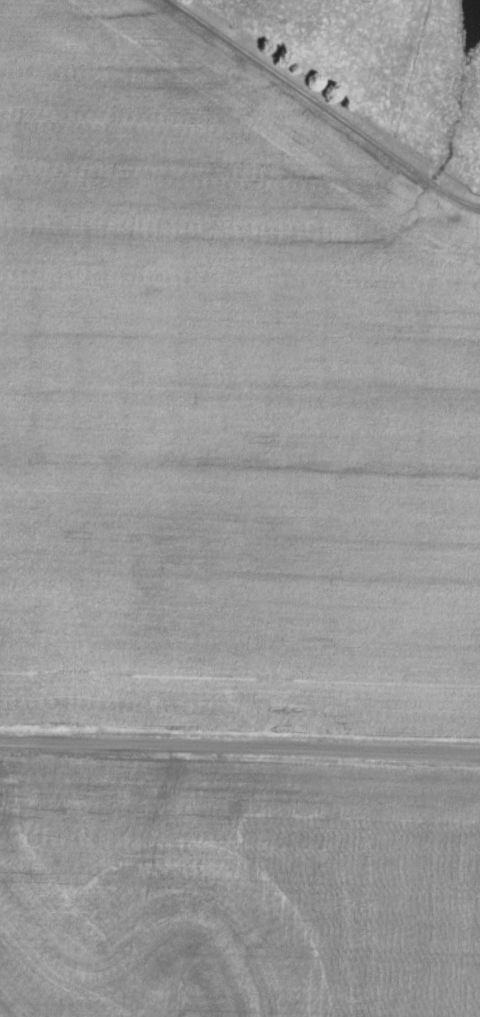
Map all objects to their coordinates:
road: (323, 107)
road: (240, 748)

